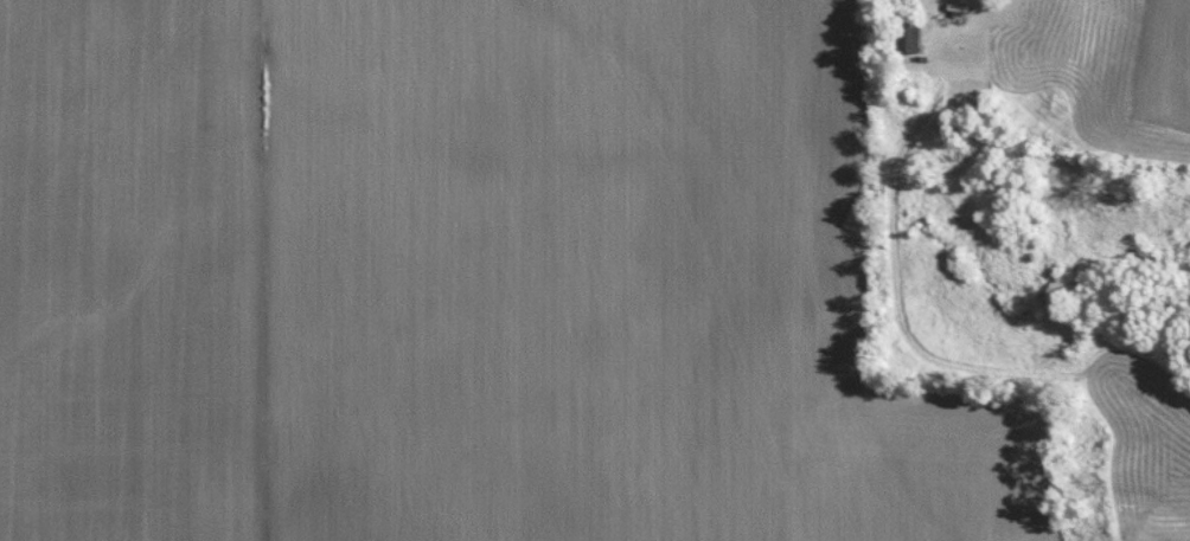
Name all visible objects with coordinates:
building: (906, 37)

